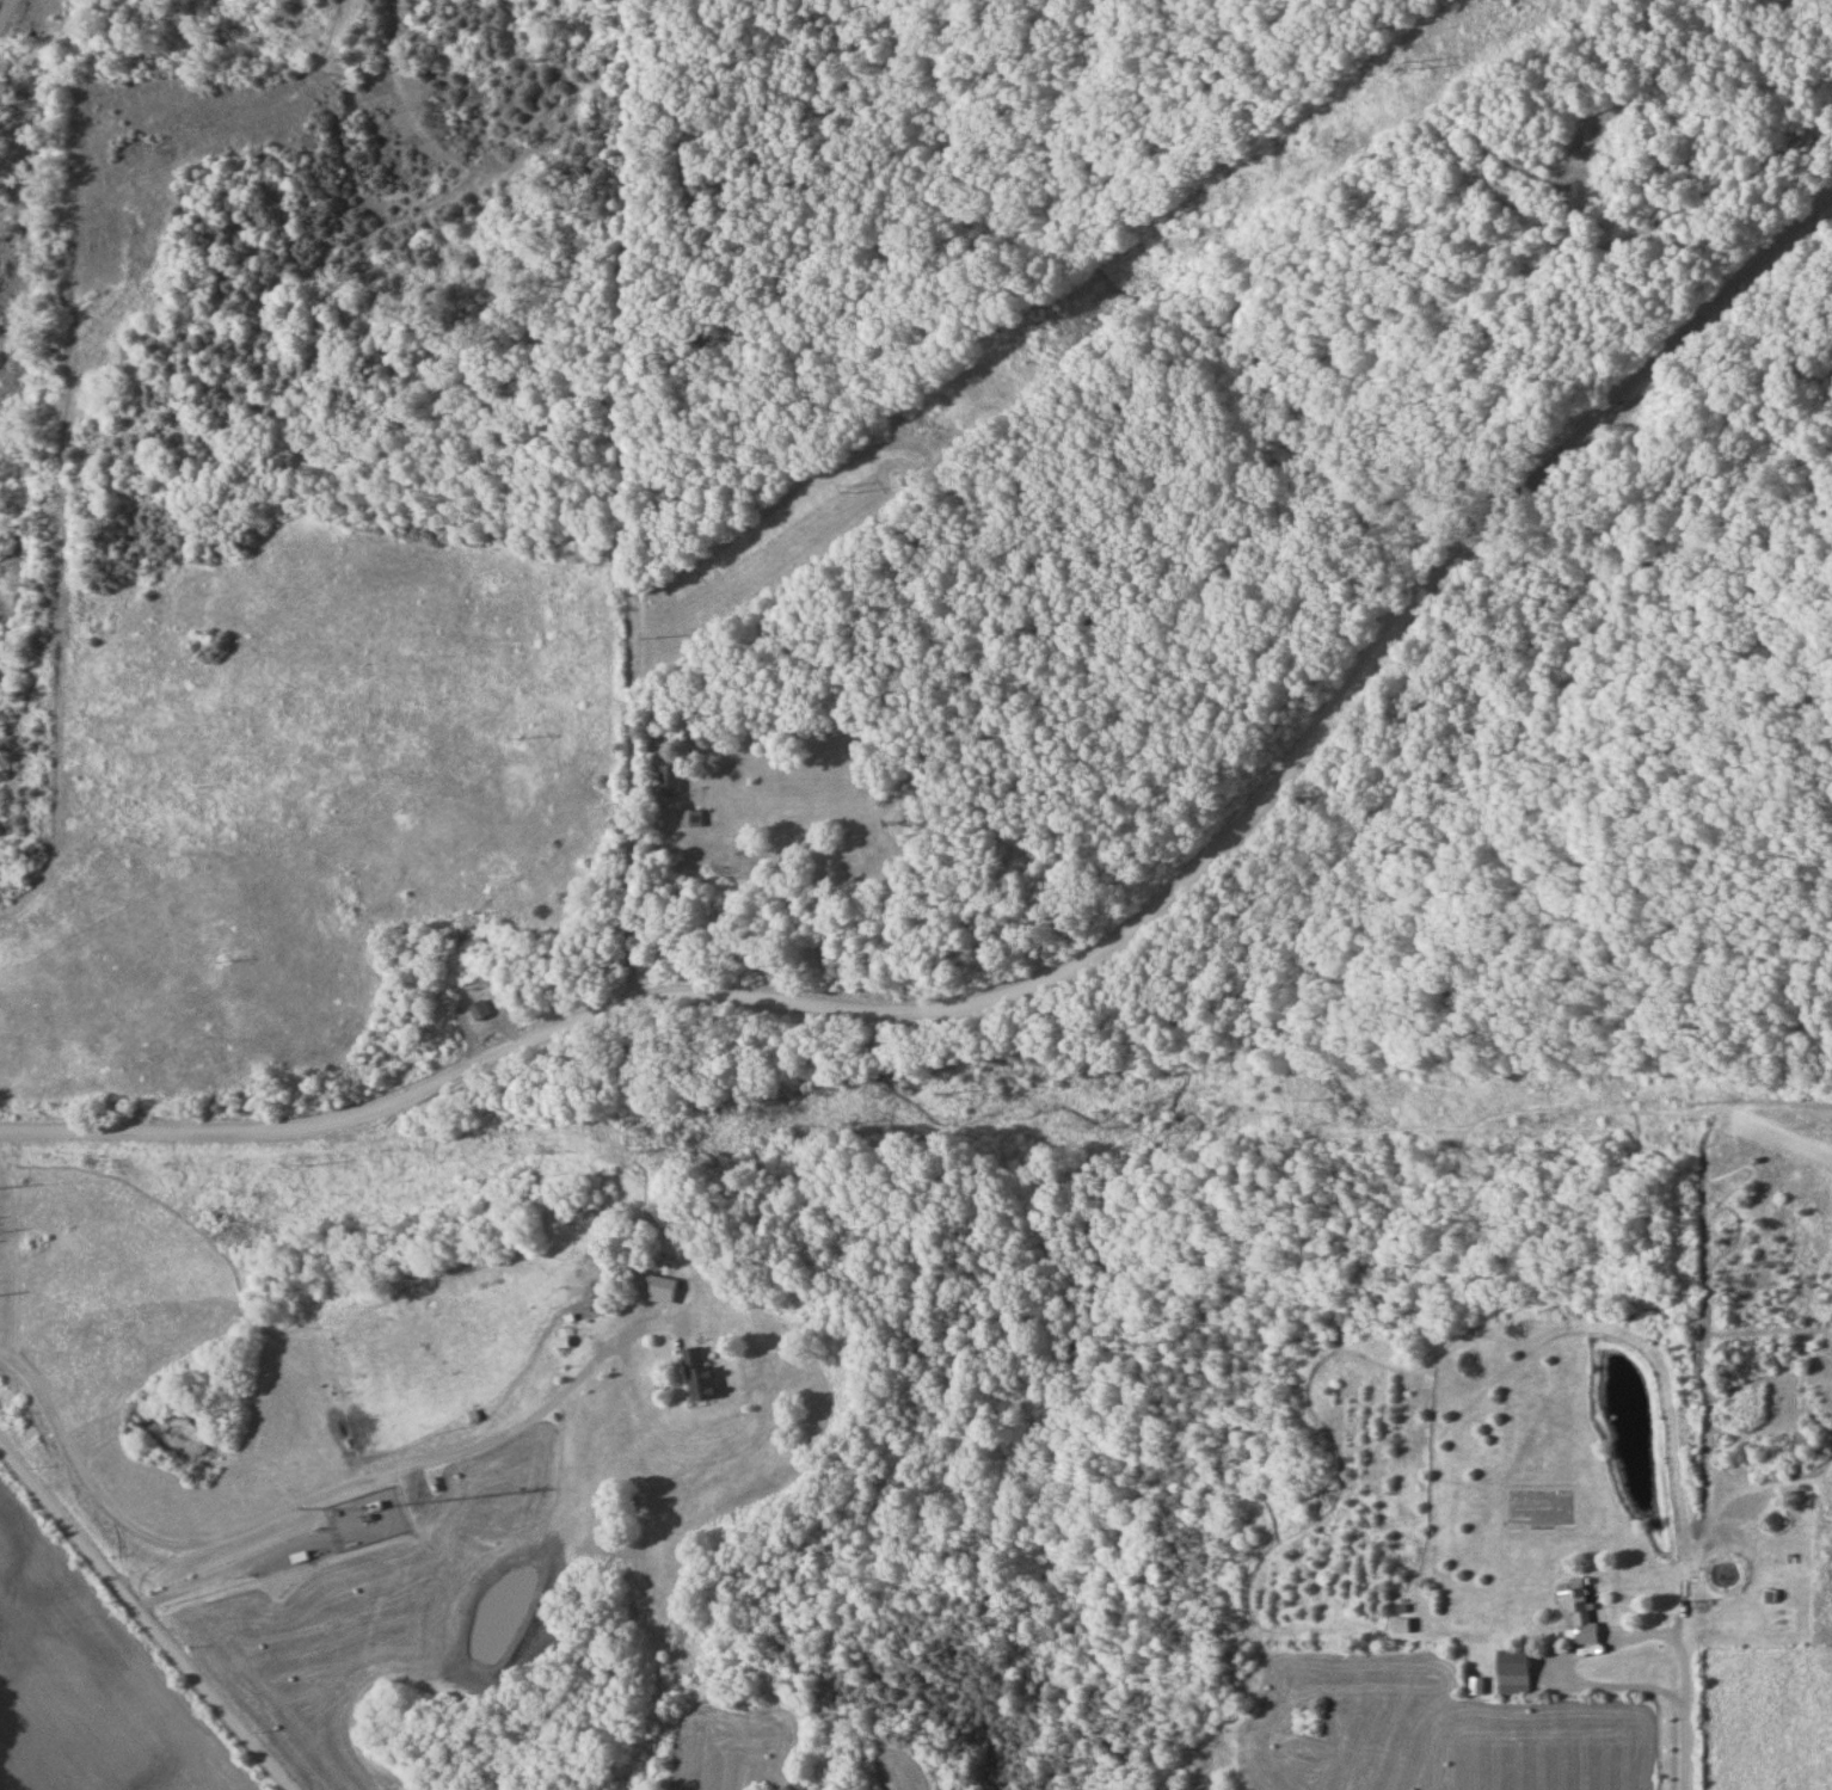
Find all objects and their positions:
road: (10, 19)
power tower: (1415, 63)
road: (82, 358)
power tower: (843, 488)
road: (631, 502)
power tower: (514, 736)
building: (671, 780)
park: (1144, 785)
power tower: (225, 958)
road: (1058, 974)
building: (481, 1010)
building: (663, 1288)
building: (702, 1376)
road: (312, 1502)
road: (644, 1567)
road: (247, 1568)
building: (1581, 1614)
road: (146, 1617)
building: (1518, 1672)
road: (1686, 1678)

